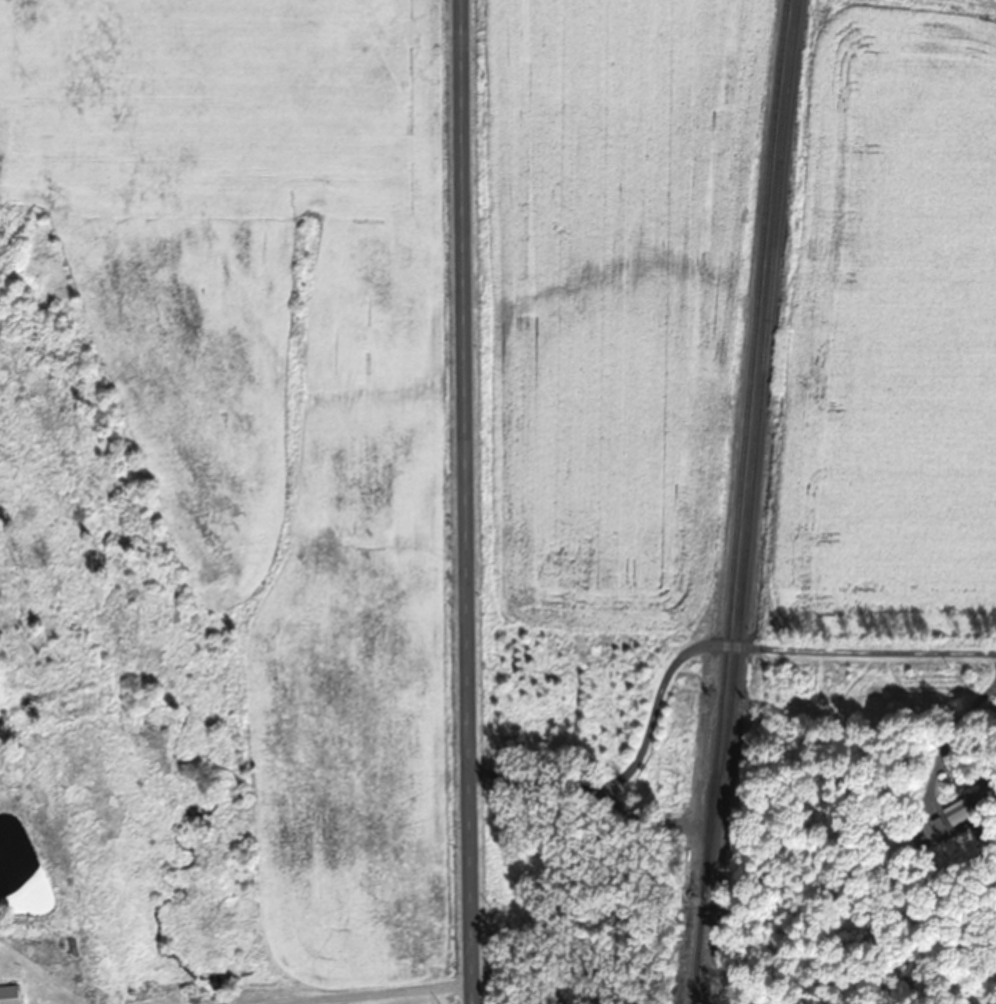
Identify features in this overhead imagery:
railway: (754, 447)
railway: (738, 501)
road: (465, 502)
road: (691, 652)
building: (970, 815)
road: (333, 994)
building: (8, 995)

